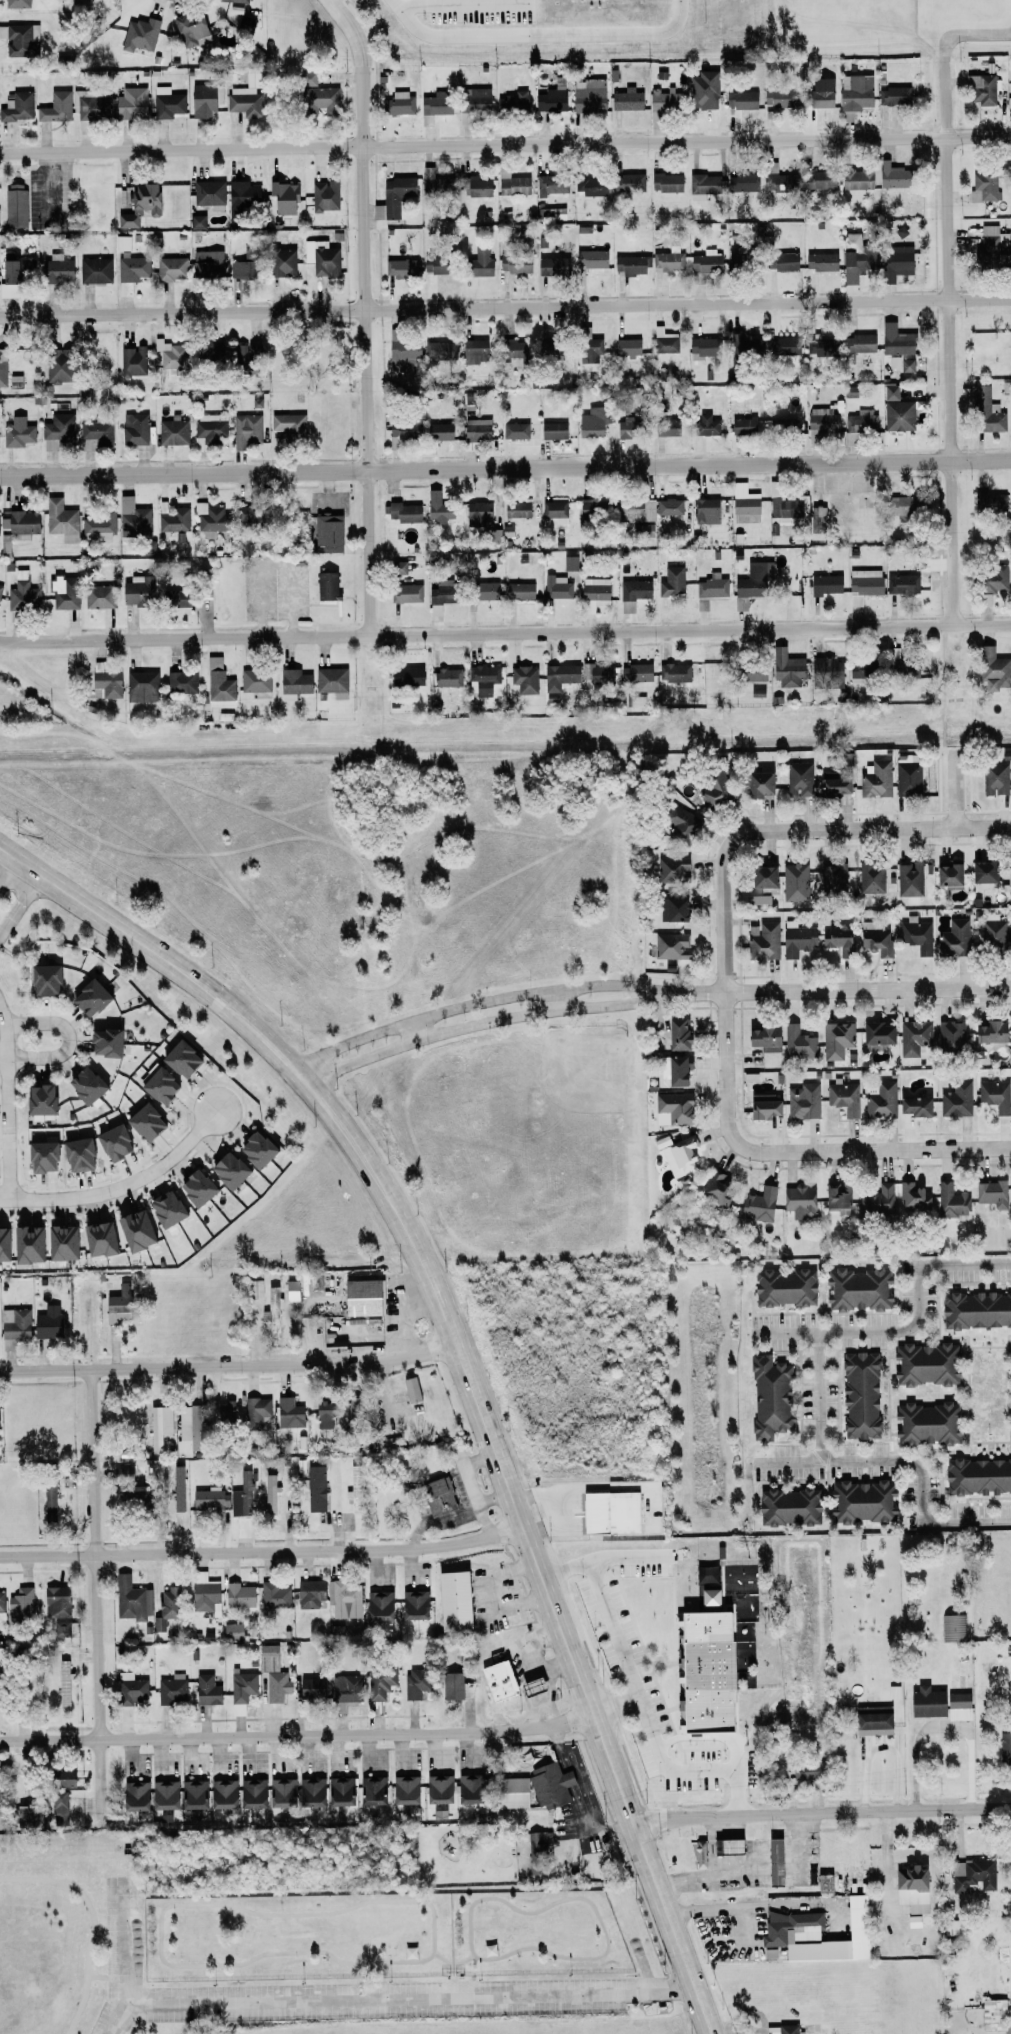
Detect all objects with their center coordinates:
building: (233, 0)
building: (16, 3)
building: (244, 25)
building: (189, 28)
building: (139, 34)
road: (972, 35)
building: (19, 39)
building: (306, 78)
building: (1010, 84)
building: (981, 88)
building: (702, 90)
building: (856, 91)
building: (818, 93)
building: (589, 94)
building: (246, 96)
building: (893, 96)
building: (551, 98)
building: (775, 98)
building: (626, 99)
building: (318, 100)
building: (659, 100)
building: (204, 101)
building: (130, 102)
building: (166, 102)
building: (471, 102)
building: (514, 102)
building: (434, 103)
building: (737, 103)
building: (398, 104)
building: (16, 105)
building: (90, 105)
building: (55, 107)
road: (505, 144)
building: (889, 175)
building: (777, 178)
building: (855, 179)
building: (818, 180)
building: (665, 182)
building: (740, 182)
building: (510, 183)
building: (628, 183)
building: (703, 183)
building: (436, 184)
building: (550, 185)
building: (1010, 185)
building: (591, 187)
building: (983, 187)
building: (207, 192)
building: (241, 194)
building: (324, 195)
building: (393, 196)
building: (283, 198)
building: (15, 205)
building: (139, 205)
building: (195, 222)
building: (122, 243)
building: (988, 246)
building: (1010, 254)
building: (321, 258)
building: (589, 258)
building: (780, 261)
building: (819, 261)
building: (281, 262)
building: (894, 262)
building: (476, 263)
building: (513, 263)
building: (704, 263)
building: (206, 264)
building: (433, 264)
building: (553, 264)
building: (630, 264)
building: (132, 268)
building: (170, 268)
building: (399, 268)
building: (851, 268)
building: (241, 269)
building: (55, 270)
building: (94, 270)
building: (10, 272)
road: (505, 305)
road: (366, 330)
building: (894, 340)
road: (947, 340)
building: (663, 341)
building: (857, 344)
building: (742, 345)
building: (781, 346)
building: (547, 347)
building: (587, 347)
building: (820, 347)
building: (512, 348)
building: (626, 348)
building: (697, 348)
building: (441, 350)
building: (474, 351)
building: (208, 353)
building: (168, 354)
building: (401, 354)
building: (246, 358)
building: (132, 360)
building: (54, 365)
building: (905, 365)
building: (2, 367)
building: (896, 410)
building: (985, 410)
building: (821, 420)
building: (860, 420)
building: (287, 422)
building: (590, 422)
building: (705, 424)
building: (781, 424)
building: (741, 425)
building: (209, 426)
building: (665, 426)
building: (476, 428)
building: (622, 428)
building: (246, 429)
building: (401, 429)
building: (514, 429)
building: (172, 430)
building: (551, 430)
building: (96, 431)
building: (438, 431)
building: (16, 432)
building: (56, 432)
road: (505, 466)
building: (989, 501)
building: (743, 503)
building: (899, 505)
building: (437, 506)
building: (668, 506)
building: (591, 507)
building: (788, 508)
building: (515, 509)
building: (555, 510)
building: (635, 510)
building: (705, 510)
building: (401, 511)
building: (475, 512)
building: (817, 516)
building: (173, 518)
building: (208, 518)
building: (60, 519)
building: (17, 524)
building: (98, 526)
building: (645, 530)
building: (324, 533)
building: (498, 535)
building: (568, 562)
building: (396, 567)
building: (992, 578)
building: (670, 581)
building: (862, 583)
building: (901, 583)
building: (751, 584)
building: (823, 584)
building: (325, 585)
building: (556, 585)
building: (710, 585)
building: (0, 587)
building: (135, 589)
building: (483, 590)
building: (519, 590)
building: (63, 591)
building: (441, 591)
building: (405, 592)
building: (22, 593)
building: (594, 593)
building: (631, 593)
building: (98, 596)
building: (174, 598)
road: (947, 631)
road: (505, 633)
road: (951, 661)
building: (785, 667)
building: (991, 668)
building: (863, 669)
building: (824, 670)
building: (751, 671)
building: (596, 672)
building: (637, 672)
building: (670, 672)
road: (943, 672)
building: (405, 675)
building: (558, 675)
building: (445, 677)
building: (482, 678)
building: (523, 678)
building: (254, 679)
building: (329, 679)
building: (180, 681)
building: (292, 683)
building: (105, 684)
building: (218, 684)
building: (140, 685)
building: (636, 700)
road: (944, 732)
building: (798, 778)
building: (875, 778)
building: (906, 778)
building: (994, 778)
road: (939, 782)
building: (756, 783)
building: (714, 786)
building: (831, 786)
road: (953, 786)
building: (680, 820)
road: (793, 826)
building: (672, 867)
building: (1010, 868)
road: (8, 871)
building: (980, 872)
building: (946, 874)
building: (760, 876)
building: (832, 876)
building: (870, 876)
building: (794, 880)
building: (754, 899)
road: (21, 907)
building: (671, 908)
building: (993, 930)
building: (916, 934)
road: (0, 935)
building: (835, 936)
building: (953, 937)
building: (796, 938)
building: (762, 940)
building: (875, 940)
building: (668, 944)
building: (41, 979)
road: (836, 988)
building: (86, 997)
road: (557, 1000)
road: (473, 1004)
road: (481, 1022)
building: (989, 1031)
road: (414, 1032)
building: (675, 1034)
building: (949, 1034)
building: (874, 1035)
building: (913, 1036)
road: (68, 1037)
building: (763, 1037)
building: (835, 1039)
building: (102, 1042)
building: (797, 1042)
road: (2, 1057)
building: (178, 1058)
building: (675, 1069)
building: (83, 1084)
building: (156, 1085)
building: (993, 1094)
building: (843, 1098)
building: (955, 1099)
building: (880, 1100)
building: (802, 1101)
road: (5, 1105)
building: (761, 1105)
building: (913, 1105)
building: (673, 1106)
building: (141, 1121)
building: (110, 1142)
road: (797, 1145)
building: (253, 1149)
building: (74, 1154)
building: (678, 1155)
building: (39, 1156)
building: (225, 1169)
road: (122, 1185)
building: (192, 1187)
building: (714, 1188)
building: (991, 1193)
building: (836, 1196)
building: (912, 1197)
building: (878, 1198)
building: (950, 1200)
building: (799, 1201)
building: (757, 1203)
building: (163, 1208)
building: (132, 1230)
building: (95, 1238)
building: (58, 1242)
building: (2, 1244)
building: (24, 1244)
building: (783, 1287)
building: (254, 1288)
building: (856, 1289)
building: (290, 1290)
building: (360, 1297)
road: (920, 1298)
building: (116, 1304)
building: (272, 1309)
building: (975, 1309)
building: (46, 1322)
building: (13, 1325)
building: (1010, 1342)
road: (465, 1364)
building: (924, 1364)
road: (230, 1367)
road: (819, 1371)
building: (410, 1389)
building: (858, 1395)
building: (768, 1396)
building: (225, 1411)
building: (255, 1411)
building: (322, 1411)
building: (288, 1413)
building: (925, 1424)
building: (158, 1426)
building: (186, 1431)
building: (387, 1444)
road: (909, 1461)
building: (124, 1473)
building: (977, 1476)
building: (178, 1488)
building: (315, 1488)
building: (353, 1488)
building: (270, 1494)
building: (241, 1495)
building: (437, 1496)
building: (48, 1497)
building: (208, 1498)
building: (860, 1501)
building: (787, 1507)
building: (608, 1512)
road: (262, 1552)
road: (97, 1593)
building: (203, 1593)
building: (308, 1593)
building: (342, 1593)
building: (237, 1595)
building: (273, 1595)
building: (708, 1597)
building: (130, 1600)
building: (54, 1601)
building: (451, 1601)
building: (1, 1602)
building: (19, 1604)
building: (412, 1604)
building: (376, 1605)
building: (164, 1609)
building: (953, 1627)
building: (60, 1628)
building: (231, 1631)
building: (703, 1671)
building: (272, 1674)
building: (497, 1681)
building: (379, 1682)
building: (63, 1683)
building: (415, 1684)
building: (28, 1686)
building: (241, 1686)
building: (530, 1686)
building: (454, 1687)
building: (129, 1688)
building: (171, 1688)
building: (309, 1688)
building: (205, 1690)
road: (639, 1697)
building: (925, 1702)
building: (957, 1706)
road: (615, 1710)
building: (871, 1720)
road: (942, 1728)
road: (296, 1732)
road: (556, 1740)
building: (1004, 1747)
building: (801, 1772)
road: (569, 1775)
building: (60, 1778)
building: (534, 1788)
building: (436, 1789)
building: (467, 1789)
building: (403, 1790)
building: (338, 1791)
building: (370, 1791)
building: (279, 1792)
building: (309, 1792)
building: (250, 1793)
building: (220, 1794)
building: (162, 1795)
building: (191, 1795)
building: (132, 1796)
road: (821, 1816)
road: (599, 1823)
building: (538, 1843)
building: (727, 1846)
building: (772, 1862)
building: (971, 1875)
road: (124, 1879)
building: (824, 1882)
building: (910, 1888)
road: (763, 1911)
building: (1010, 1912)
road: (93, 1921)
building: (913, 1921)
building: (791, 1928)
park: (301, 1944)
road: (433, 1948)
road: (606, 1950)
road: (738, 1957)
road: (444, 1958)
road: (462, 1959)
road: (444, 1973)
road: (462, 1973)
road: (411, 1995)
building: (993, 2013)
building: (780, 2029)

